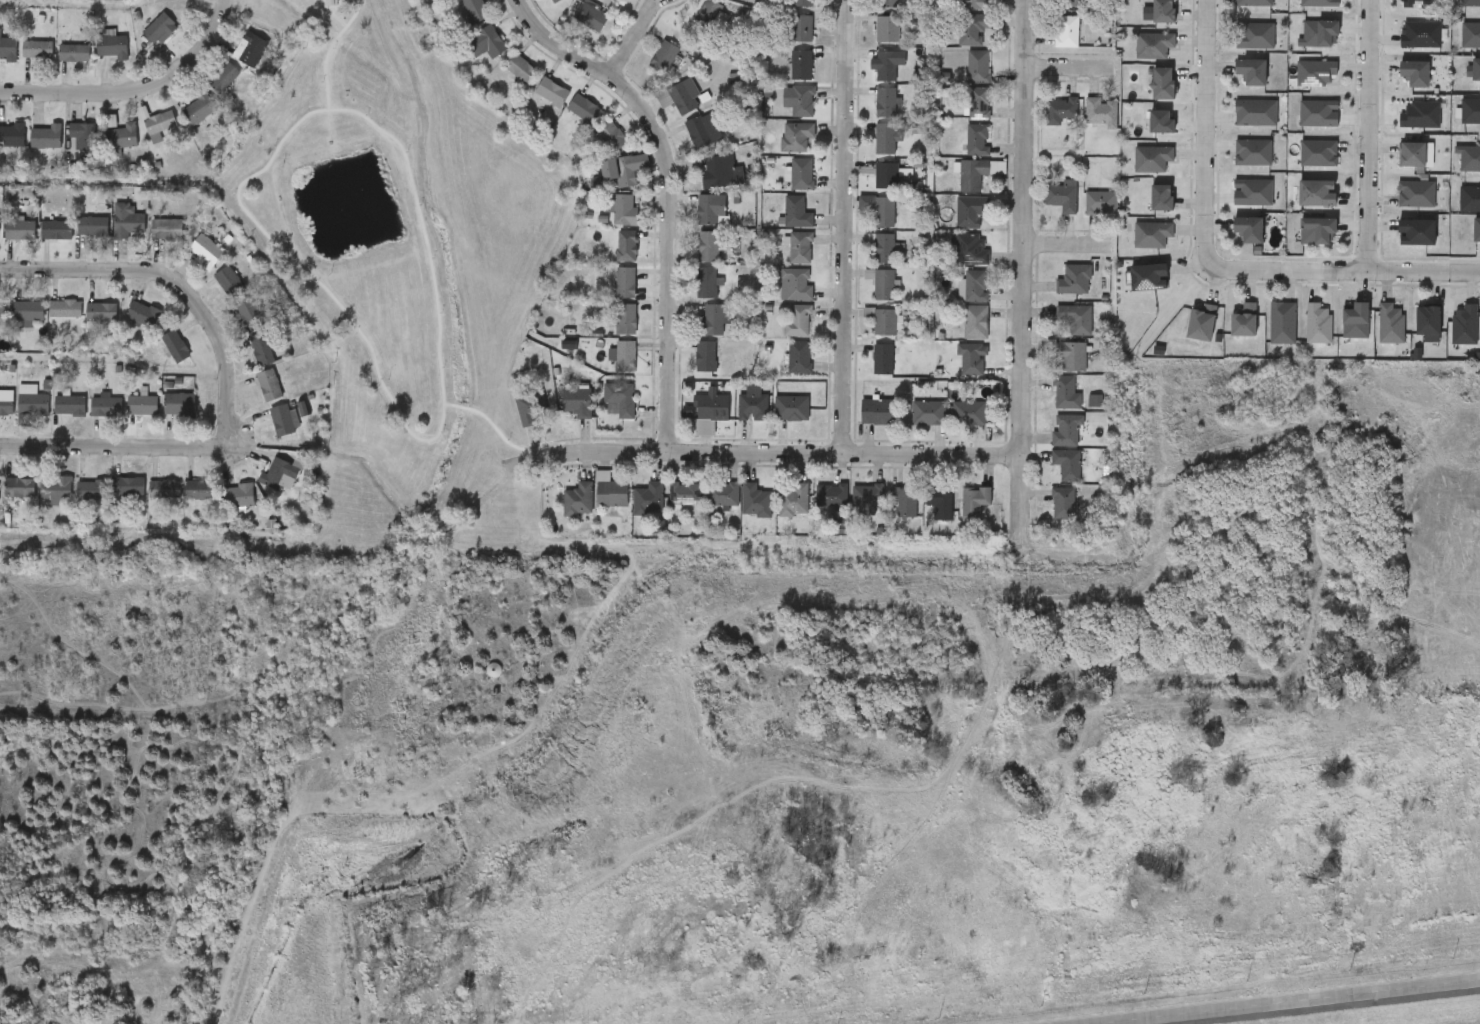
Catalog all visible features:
building: (424, 0)
building: (438, 1)
building: (553, 1)
building: (802, 3)
building: (887, 3)
building: (1253, 3)
building: (977, 4)
building: (1071, 4)
building: (1415, 4)
building: (709, 9)
building: (475, 10)
building: (1161, 11)
building: (589, 16)
building: (457, 18)
building: (799, 27)
building: (159, 28)
building: (972, 28)
building: (887, 29)
building: (1318, 30)
building: (1064, 31)
building: (1470, 35)
building: (1420, 36)
building: (1253, 37)
building: (142, 40)
road: (632, 40)
building: (488, 41)
building: (111, 46)
building: (1152, 46)
building: (7, 48)
building: (37, 49)
building: (250, 49)
building: (73, 53)
building: (469, 54)
building: (663, 56)
building: (96, 58)
building: (20, 60)
building: (232, 60)
building: (56, 64)
building: (801, 65)
building: (885, 66)
building: (978, 66)
road: (1067, 67)
building: (520, 68)
building: (1249, 72)
building: (1474, 72)
building: (1316, 74)
building: (1412, 74)
building: (223, 78)
building: (502, 79)
building: (1161, 85)
road: (135, 88)
building: (206, 89)
building: (551, 92)
building: (679, 96)
building: (802, 101)
building: (885, 102)
building: (534, 103)
building: (978, 103)
building: (199, 108)
building: (583, 109)
building: (1057, 110)
building: (1317, 111)
building: (1097, 112)
building: (1470, 112)
building: (1255, 113)
building: (1418, 116)
building: (566, 120)
building: (181, 121)
building: (1159, 122)
building: (158, 125)
building: (702, 130)
building: (12, 135)
building: (82, 135)
building: (611, 135)
road: (1210, 135)
road: (1368, 135)
building: (123, 136)
building: (45, 137)
building: (141, 137)
building: (796, 137)
building: (886, 138)
building: (978, 139)
building: (593, 146)
building: (4, 147)
building: (66, 147)
building: (29, 148)
building: (105, 148)
building: (1317, 149)
building: (1252, 153)
building: (1410, 156)
building: (1151, 159)
building: (1468, 160)
building: (787, 170)
building: (620, 171)
building: (718, 171)
building: (977, 172)
building: (801, 173)
building: (886, 175)
building: (598, 183)
building: (1415, 189)
building: (1251, 193)
road: (670, 194)
building: (1315, 195)
building: (579, 196)
building: (1060, 196)
building: (1160, 199)
building: (1469, 199)
building: (1097, 202)
building: (621, 209)
building: (708, 209)
fountain: (339, 210)
building: (970, 210)
building: (796, 212)
building: (883, 212)
building: (596, 220)
building: (126, 221)
building: (93, 226)
road: (845, 226)
road: (1028, 228)
building: (166, 229)
building: (20, 230)
building: (56, 230)
building: (1246, 230)
building: (1316, 232)
building: (1475, 232)
building: (110, 233)
building: (1415, 234)
building: (1150, 235)
building: (76, 237)
building: (9, 241)
building: (39, 241)
building: (149, 241)
road: (1066, 245)
building: (626, 246)
building: (880, 246)
building: (707, 247)
building: (800, 247)
building: (970, 248)
building: (205, 251)
building: (189, 262)
road: (1345, 271)
building: (1072, 279)
building: (1146, 279)
road: (174, 281)
building: (228, 282)
building: (625, 282)
building: (706, 282)
building: (881, 283)
building: (795, 284)
building: (975, 285)
building: (211, 293)
building: (608, 293)
building: (65, 309)
building: (28, 312)
building: (101, 313)
building: (142, 314)
building: (248, 315)
building: (3, 316)
building: (1073, 318)
building: (625, 319)
building: (48, 320)
building: (798, 321)
building: (884, 321)
building: (1242, 321)
building: (714, 322)
building: (975, 322)
building: (1354, 322)
building: (1426, 322)
building: (1282, 323)
building: (84, 324)
building: (1199, 324)
building: (1317, 324)
building: (1390, 324)
building: (232, 325)
building: (125, 326)
building: (1464, 326)
building: (609, 330)
building: (174, 346)
building: (260, 350)
building: (625, 356)
building: (705, 356)
building: (1068, 356)
building: (158, 357)
building: (799, 357)
building: (971, 358)
building: (882, 359)
building: (243, 360)
building: (606, 367)
building: (268, 385)
building: (1063, 394)
building: (251, 396)
building: (619, 396)
building: (577, 401)
building: (33, 404)
building: (752, 404)
building: (5, 405)
building: (69, 405)
building: (142, 405)
building: (178, 405)
building: (529, 406)
building: (104, 407)
building: (791, 407)
building: (711, 410)
building: (602, 411)
building: (877, 412)
building: (969, 412)
building: (559, 413)
building: (928, 413)
building: (125, 415)
building: (162, 415)
building: (53, 417)
building: (89, 417)
building: (281, 420)
building: (509, 422)
building: (1062, 429)
building: (266, 431)
road: (114, 446)
road: (765, 453)
building: (1064, 464)
building: (276, 474)
building: (262, 484)
building: (128, 486)
building: (19, 489)
building: (165, 489)
building: (55, 490)
building: (92, 490)
building: (200, 490)
building: (612, 493)
building: (685, 493)
building: (722, 494)
building: (870, 495)
road: (1021, 495)
building: (238, 496)
building: (832, 496)
building: (112, 497)
building: (9, 499)
building: (577, 499)
building: (648, 499)
building: (147, 500)
building: (755, 500)
building: (794, 500)
building: (904, 500)
building: (975, 500)
building: (39, 501)
building: (182, 501)
building: (73, 502)
building: (593, 502)
building: (941, 504)
building: (1060, 504)
building: (221, 508)
building: (561, 511)
road: (1295, 1002)

